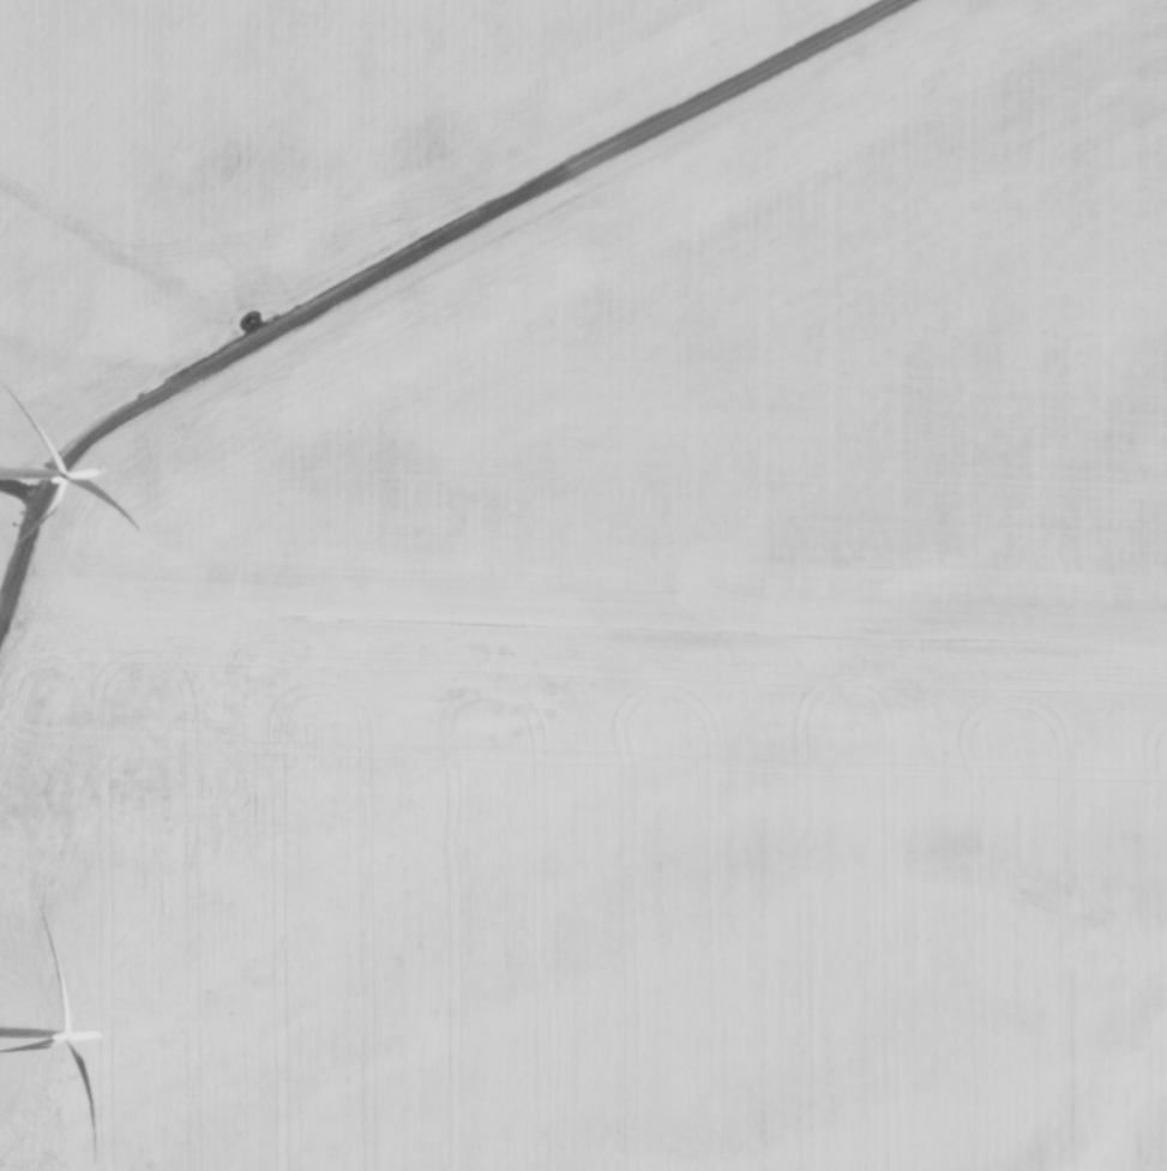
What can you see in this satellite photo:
road: (393, 252)

